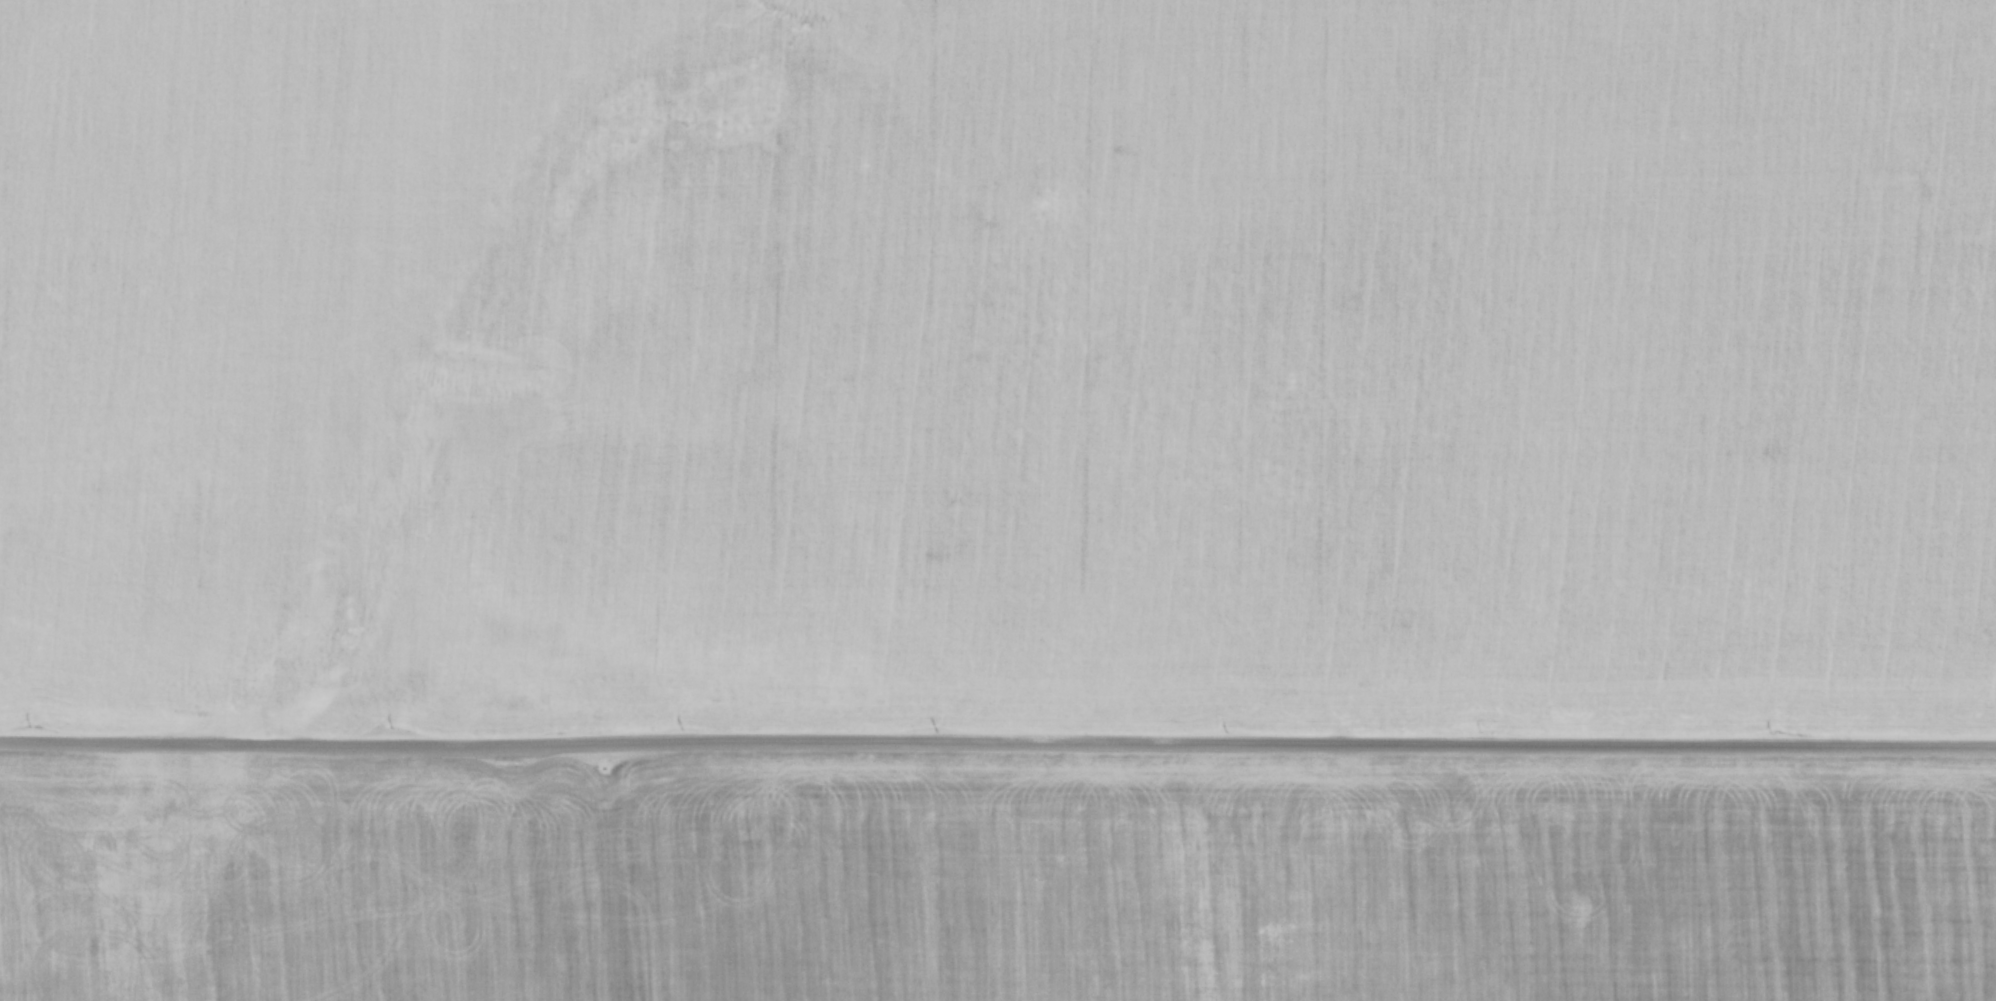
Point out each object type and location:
road: (997, 734)

